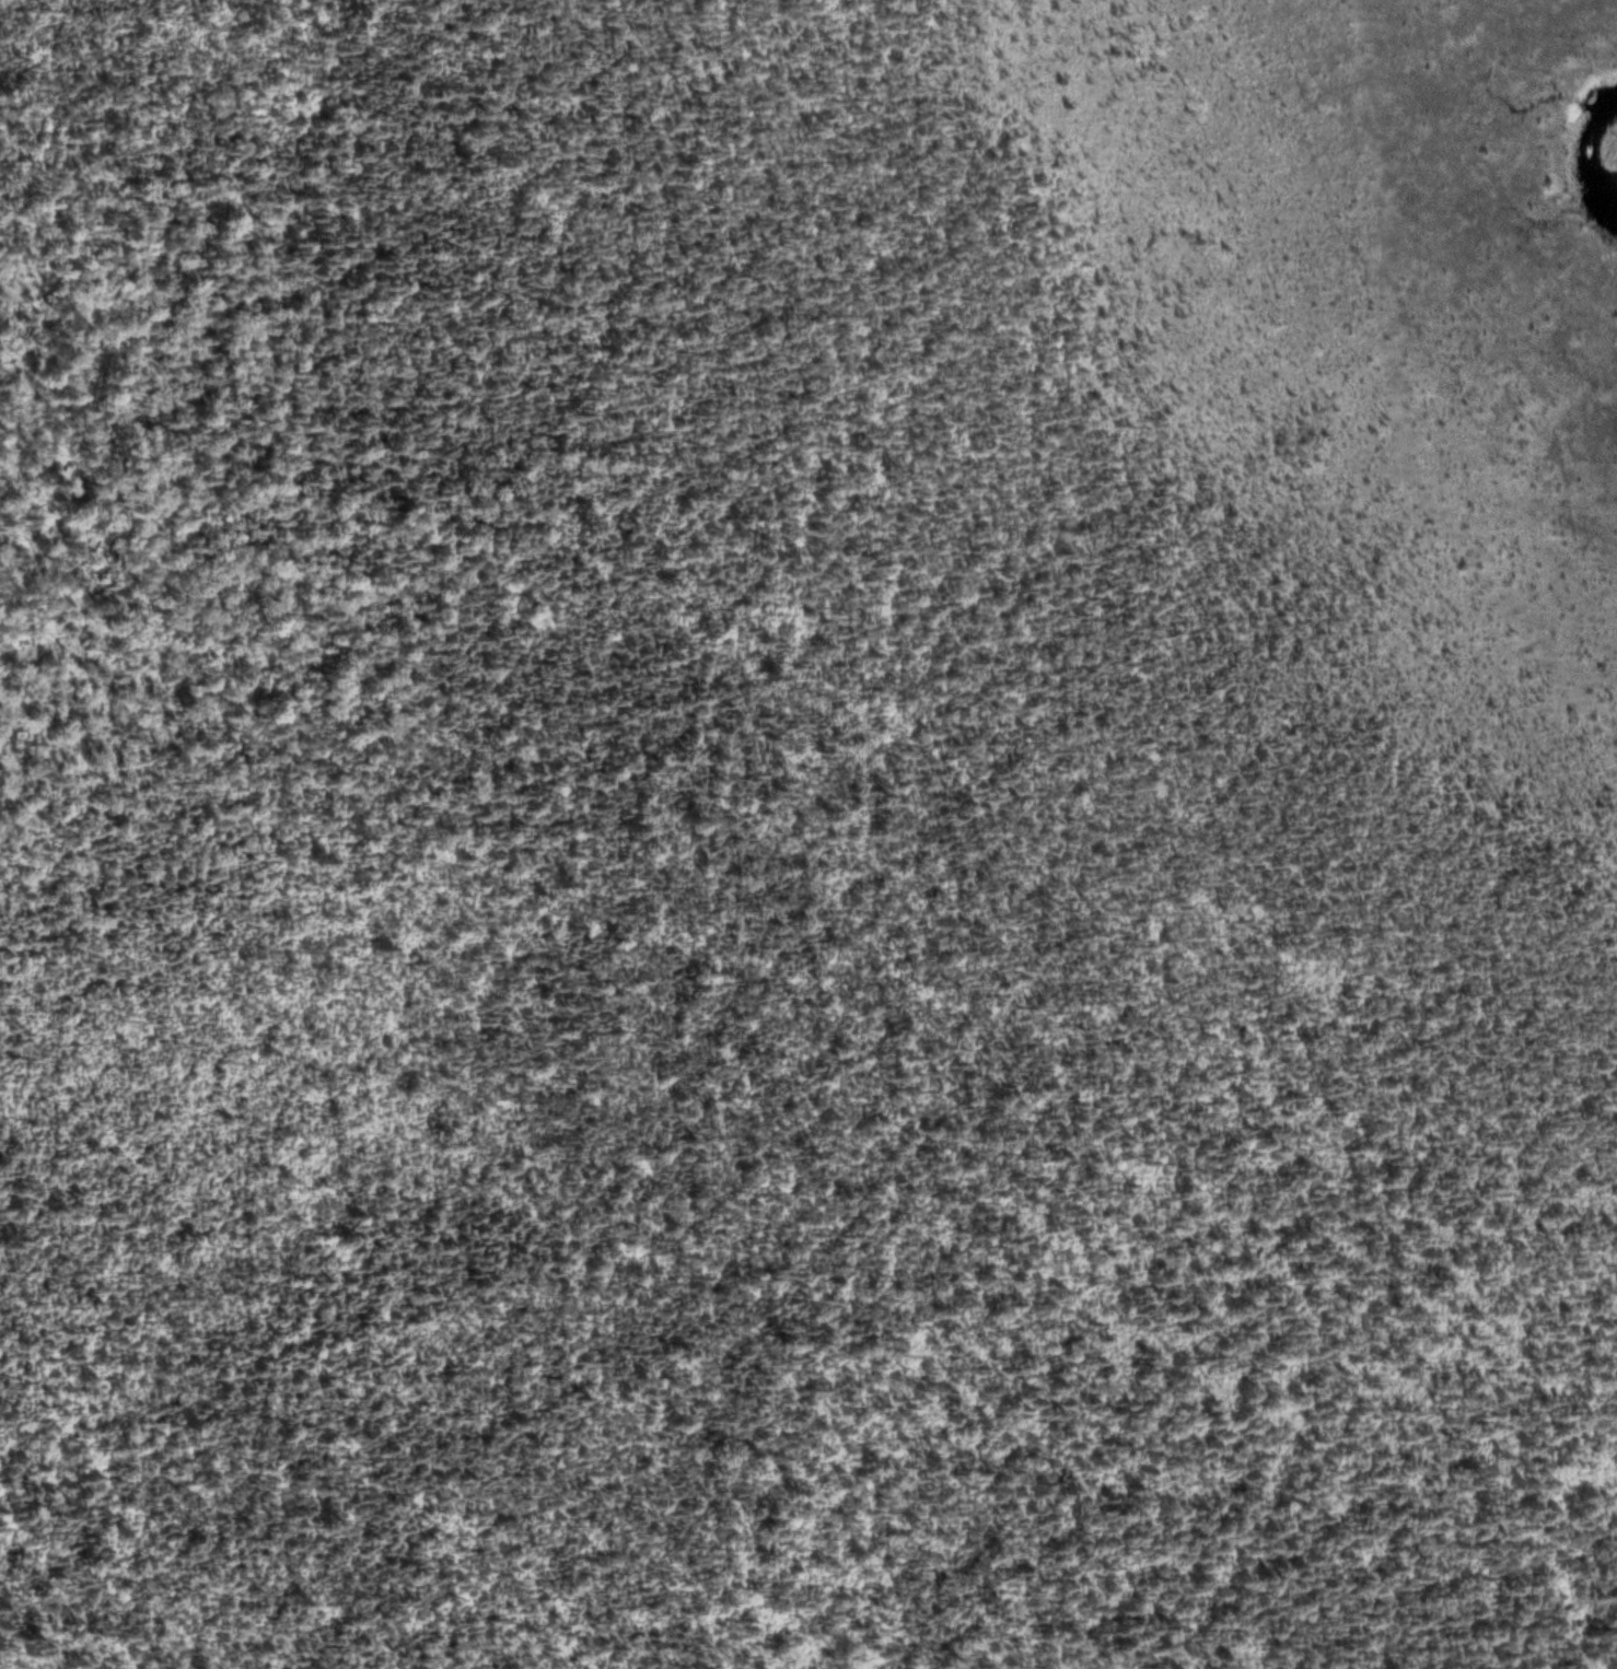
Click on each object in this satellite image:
river: (1589, 159)

